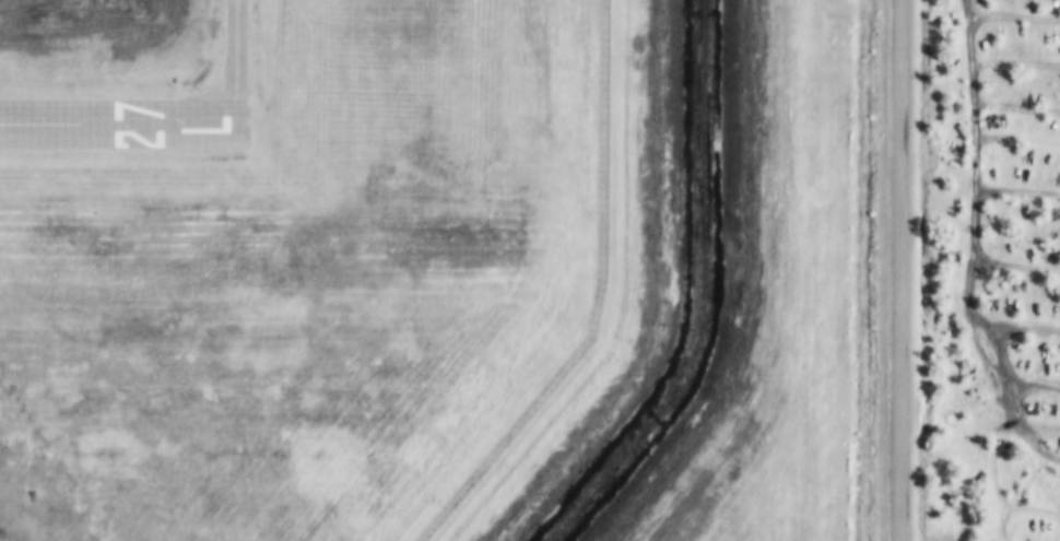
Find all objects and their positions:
airport taxiway: (238, 61)
airport runway: (119, 122)
airport: (288, 257)
road: (904, 270)

